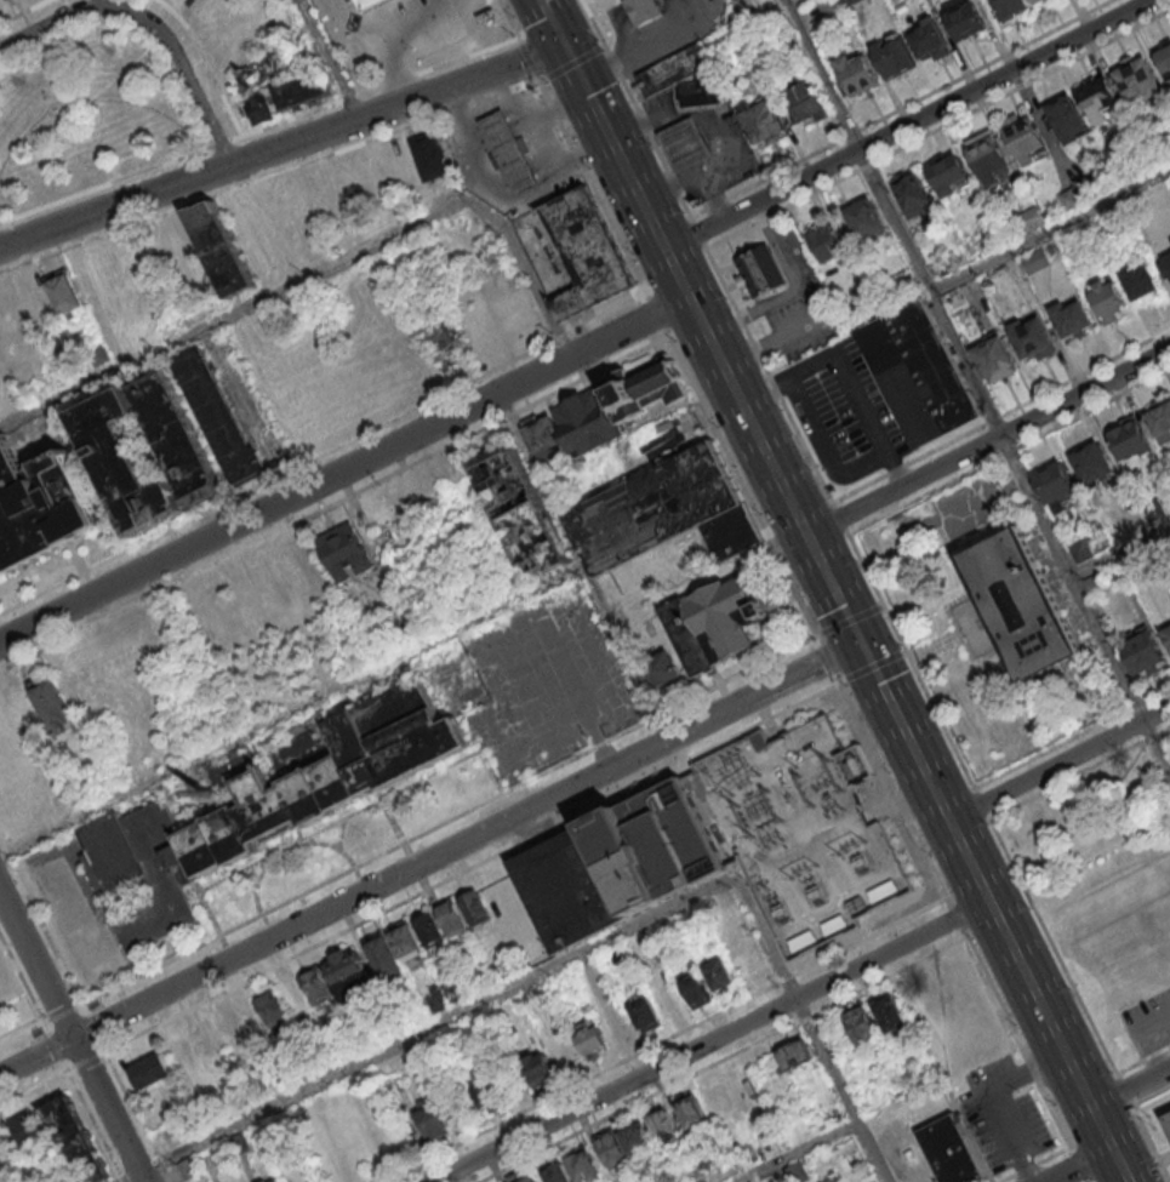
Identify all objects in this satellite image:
road: (791, 1)
building: (371, 4)
building: (1009, 7)
building: (644, 11)
building: (963, 18)
road: (509, 21)
road: (553, 23)
road: (148, 25)
building: (928, 39)
traffic signals: (565, 46)
building: (894, 55)
building: (1164, 58)
road: (329, 59)
road: (530, 61)
road: (572, 63)
building: (675, 70)
building: (256, 73)
building: (854, 73)
building: (1136, 79)
building: (301, 92)
building: (702, 92)
building: (1098, 98)
building: (806, 102)
park: (86, 109)
building: (262, 109)
building: (1066, 119)
building: (761, 121)
road: (907, 124)
road: (258, 130)
building: (1025, 137)
road: (281, 145)
building: (687, 145)
road: (616, 147)
building: (510, 154)
building: (987, 156)
building: (434, 160)
building: (948, 173)
road: (269, 176)
road: (590, 185)
building: (912, 193)
building: (863, 218)
building: (1031, 218)
road: (1050, 228)
building: (822, 240)
building: (172, 245)
building: (221, 247)
building: (583, 257)
building: (1033, 259)
building: (1166, 264)
road: (316, 269)
building: (758, 270)
building: (1137, 279)
building: (67, 296)
building: (1107, 298)
road: (652, 314)
building: (1069, 318)
building: (1029, 337)
building: (99, 356)
building: (993, 356)
road: (844, 375)
building: (917, 376)
road: (977, 387)
building: (640, 389)
road: (736, 392)
road: (777, 394)
building: (212, 412)
building: (1159, 417)
building: (587, 423)
building: (1128, 436)
building: (544, 439)
building: (172, 440)
road: (989, 441)
road: (320, 452)
building: (1091, 462)
building: (115, 466)
road: (344, 468)
building: (1054, 484)
road: (742, 486)
road: (332, 504)
building: (40, 507)
building: (1154, 507)
building: (652, 508)
building: (527, 518)
building: (732, 533)
road: (1119, 544)
building: (1080, 549)
building: (344, 553)
road: (592, 583)
building: (1094, 583)
road: (835, 588)
building: (1021, 604)
road: (851, 621)
building: (719, 626)
building: (1166, 634)
traffic signals: (862, 643)
building: (1141, 649)
road: (829, 659)
road: (873, 668)
building: (664, 672)
building: (55, 708)
road: (292, 714)
road: (868, 736)
road: (1060, 763)
road: (1080, 773)
road: (898, 799)
road: (897, 800)
road: (983, 804)
building: (263, 811)
road: (706, 817)
road: (1089, 817)
road: (450, 821)
power substation: (758, 834)
building: (654, 847)
road: (926, 853)
road: (430, 860)
road: (472, 867)
building: (567, 889)
building: (881, 890)
road: (995, 912)
building: (450, 917)
road: (957, 918)
road: (40, 924)
building: (833, 924)
building: (801, 940)
building: (393, 949)
building: (749, 963)
building: (348, 971)
building: (719, 973)
road: (22, 980)
building: (696, 989)
building: (669, 998)
road: (1079, 1001)
building: (645, 1013)
building: (890, 1015)
road: (62, 1016)
building: (245, 1018)
road: (806, 1021)
parking lot: (1148, 1021)
building: (861, 1024)
road: (429, 1026)
building: (615, 1026)
road: (93, 1028)
road: (22, 1035)
road: (73, 1035)
building: (589, 1037)
road: (666, 1040)
road: (710, 1040)
road: (1018, 1043)
road: (56, 1047)
building: (182, 1050)
building: (563, 1052)
building: (795, 1053)
road: (724, 1060)
road: (85, 1061)
road: (1143, 1061)
building: (537, 1067)
building: (148, 1070)
road: (1130, 1084)
road: (34, 1087)
building: (486, 1089)
road: (1151, 1095)
building: (718, 1101)
building: (691, 1112)
building: (1166, 1115)
road: (137, 1117)
building: (435, 1121)
road: (95, 1126)
building: (664, 1127)
building: (58, 1131)
building: (611, 1148)
building: (951, 1150)
road: (797, 1152)
building: (1, 1164)
building: (582, 1164)
road: (1037, 1164)
road: (1080, 1164)
road: (1081, 1165)
building: (189, 1167)
building: (557, 1172)
building: (526, 1178)
building: (262, 1181)
building: (275, 1181)
building: (827, 1181)

